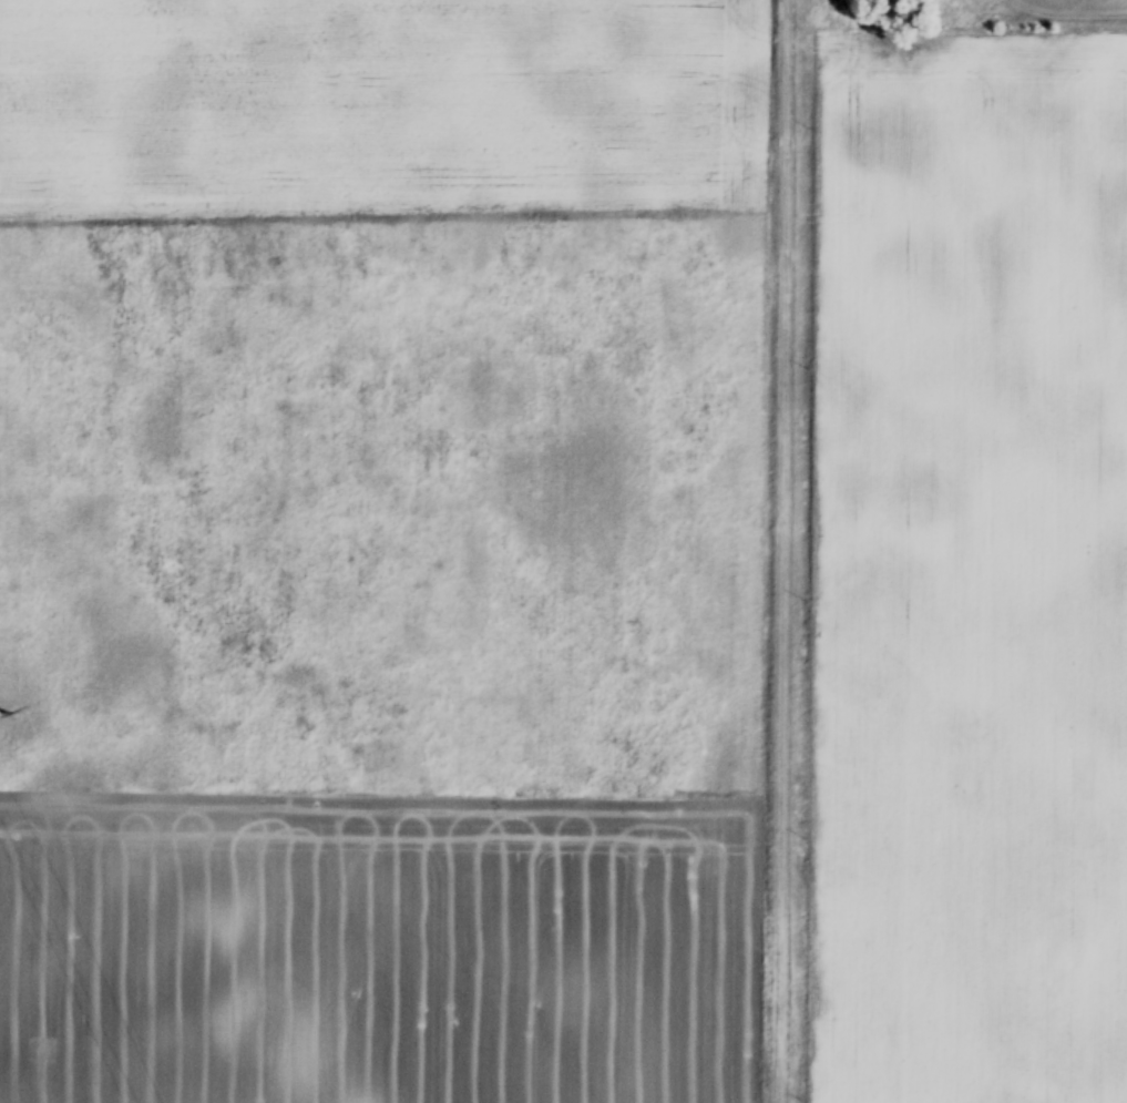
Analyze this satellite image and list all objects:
power tower: (7, 718)

